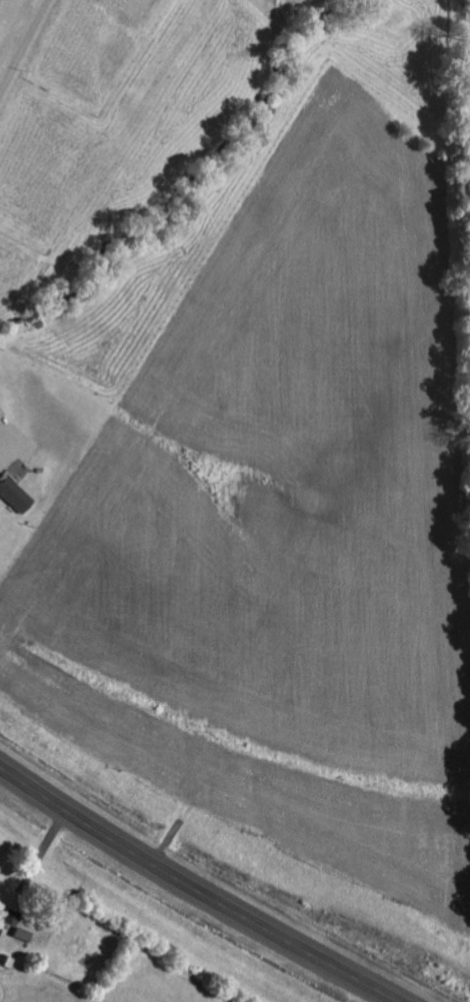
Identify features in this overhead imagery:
building: (0, 412)
building: (14, 494)
road: (195, 888)
building: (20, 933)

